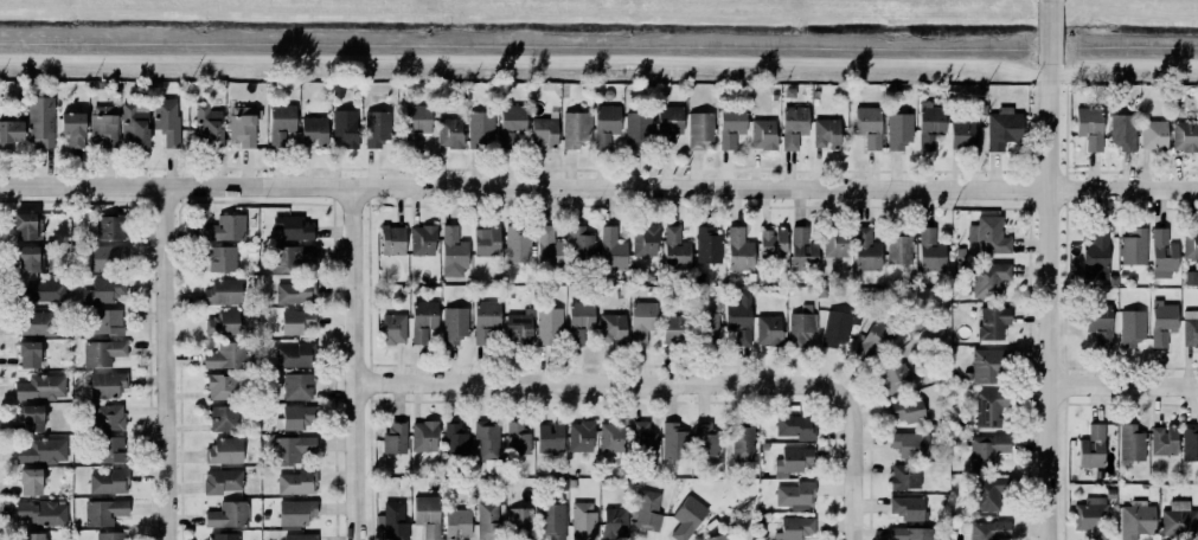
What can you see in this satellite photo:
road: (1049, 32)
road: (1061, 33)
park: (1128, 41)
building: (164, 118)
building: (40, 121)
building: (278, 122)
building: (130, 123)
building: (412, 123)
building: (512, 123)
building: (603, 123)
building: (666, 123)
building: (103, 124)
building: (207, 124)
building: (790, 124)
building: (865, 124)
building: (930, 124)
building: (242, 126)
building: (731, 126)
building: (1087, 126)
building: (373, 127)
building: (1000, 127)
building: (72, 128)
building: (310, 128)
building: (345, 128)
building: (481, 129)
building: (575, 129)
building: (638, 129)
building: (701, 130)
building: (545, 131)
building: (824, 131)
building: (899, 131)
building: (11, 133)
building: (450, 133)
building: (761, 133)
building: (1153, 134)
building: (962, 135)
building: (1126, 137)
building: (1184, 137)
road: (598, 186)
building: (28, 225)
building: (109, 226)
building: (225, 227)
building: (294, 227)
building: (988, 234)
building: (392, 239)
building: (423, 239)
building: (483, 239)
building: (645, 240)
building: (835, 240)
building: (769, 242)
building: (1190, 243)
building: (518, 244)
building: (582, 245)
building: (707, 245)
building: (1130, 246)
building: (549, 247)
building: (673, 247)
building: (613, 249)
building: (736, 249)
building: (803, 250)
building: (450, 251)
building: (869, 253)
building: (933, 253)
building: (1094, 253)
building: (1162, 255)
building: (107, 257)
building: (292, 257)
building: (902, 257)
building: (30, 258)
building: (222, 258)
building: (989, 278)
building: (101, 289)
building: (220, 290)
building: (41, 291)
building: (295, 291)
road: (1049, 302)
building: (739, 317)
building: (639, 319)
building: (423, 320)
building: (486, 320)
building: (579, 320)
building: (108, 321)
building: (299, 321)
building: (989, 321)
building: (220, 322)
building: (1164, 322)
building: (36, 323)
building: (451, 323)
building: (519, 326)
building: (550, 326)
building: (1100, 326)
building: (609, 327)
building: (800, 327)
building: (834, 327)
building: (1132, 327)
building: (393, 328)
building: (672, 328)
building: (768, 329)
building: (1189, 332)
building: (872, 342)
building: (25, 352)
building: (103, 352)
building: (294, 353)
building: (225, 355)
road: (172, 361)
road: (363, 362)
building: (982, 365)
building: (895, 378)
road: (604, 381)
building: (104, 382)
building: (38, 386)
building: (222, 386)
building: (299, 386)
road: (1123, 386)
building: (908, 410)
building: (989, 411)
building: (108, 416)
building: (220, 417)
building: (297, 417)
building: (32, 418)
building: (799, 426)
building: (424, 436)
building: (518, 436)
building: (546, 436)
building: (581, 436)
building: (613, 437)
building: (395, 438)
building: (487, 438)
building: (641, 438)
building: (739, 438)
building: (1164, 439)
building: (674, 441)
building: (706, 441)
building: (906, 443)
building: (457, 444)
building: (1132, 445)
building: (1190, 445)
building: (292, 448)
building: (110, 449)
building: (1094, 449)
building: (41, 450)
building: (224, 450)
building: (987, 450)
building: (793, 461)
road: (850, 467)
building: (902, 475)
building: (27, 480)
building: (107, 480)
building: (223, 481)
building: (299, 484)
building: (985, 490)
building: (795, 494)
building: (908, 508)
building: (645, 509)
building: (293, 510)
building: (104, 512)
building: (43, 513)
building: (229, 514)
building: (428, 515)
building: (684, 516)
building: (1093, 516)
building: (393, 520)
building: (488, 520)
building: (552, 520)
building: (1136, 520)
building: (583, 521)
building: (615, 521)
building: (1179, 521)
building: (457, 522)
building: (520, 523)
building: (796, 527)
building: (984, 528)
building: (914, 533)
building: (34, 535)
building: (111, 535)
building: (224, 535)
building: (300, 536)
building: (713, 536)

